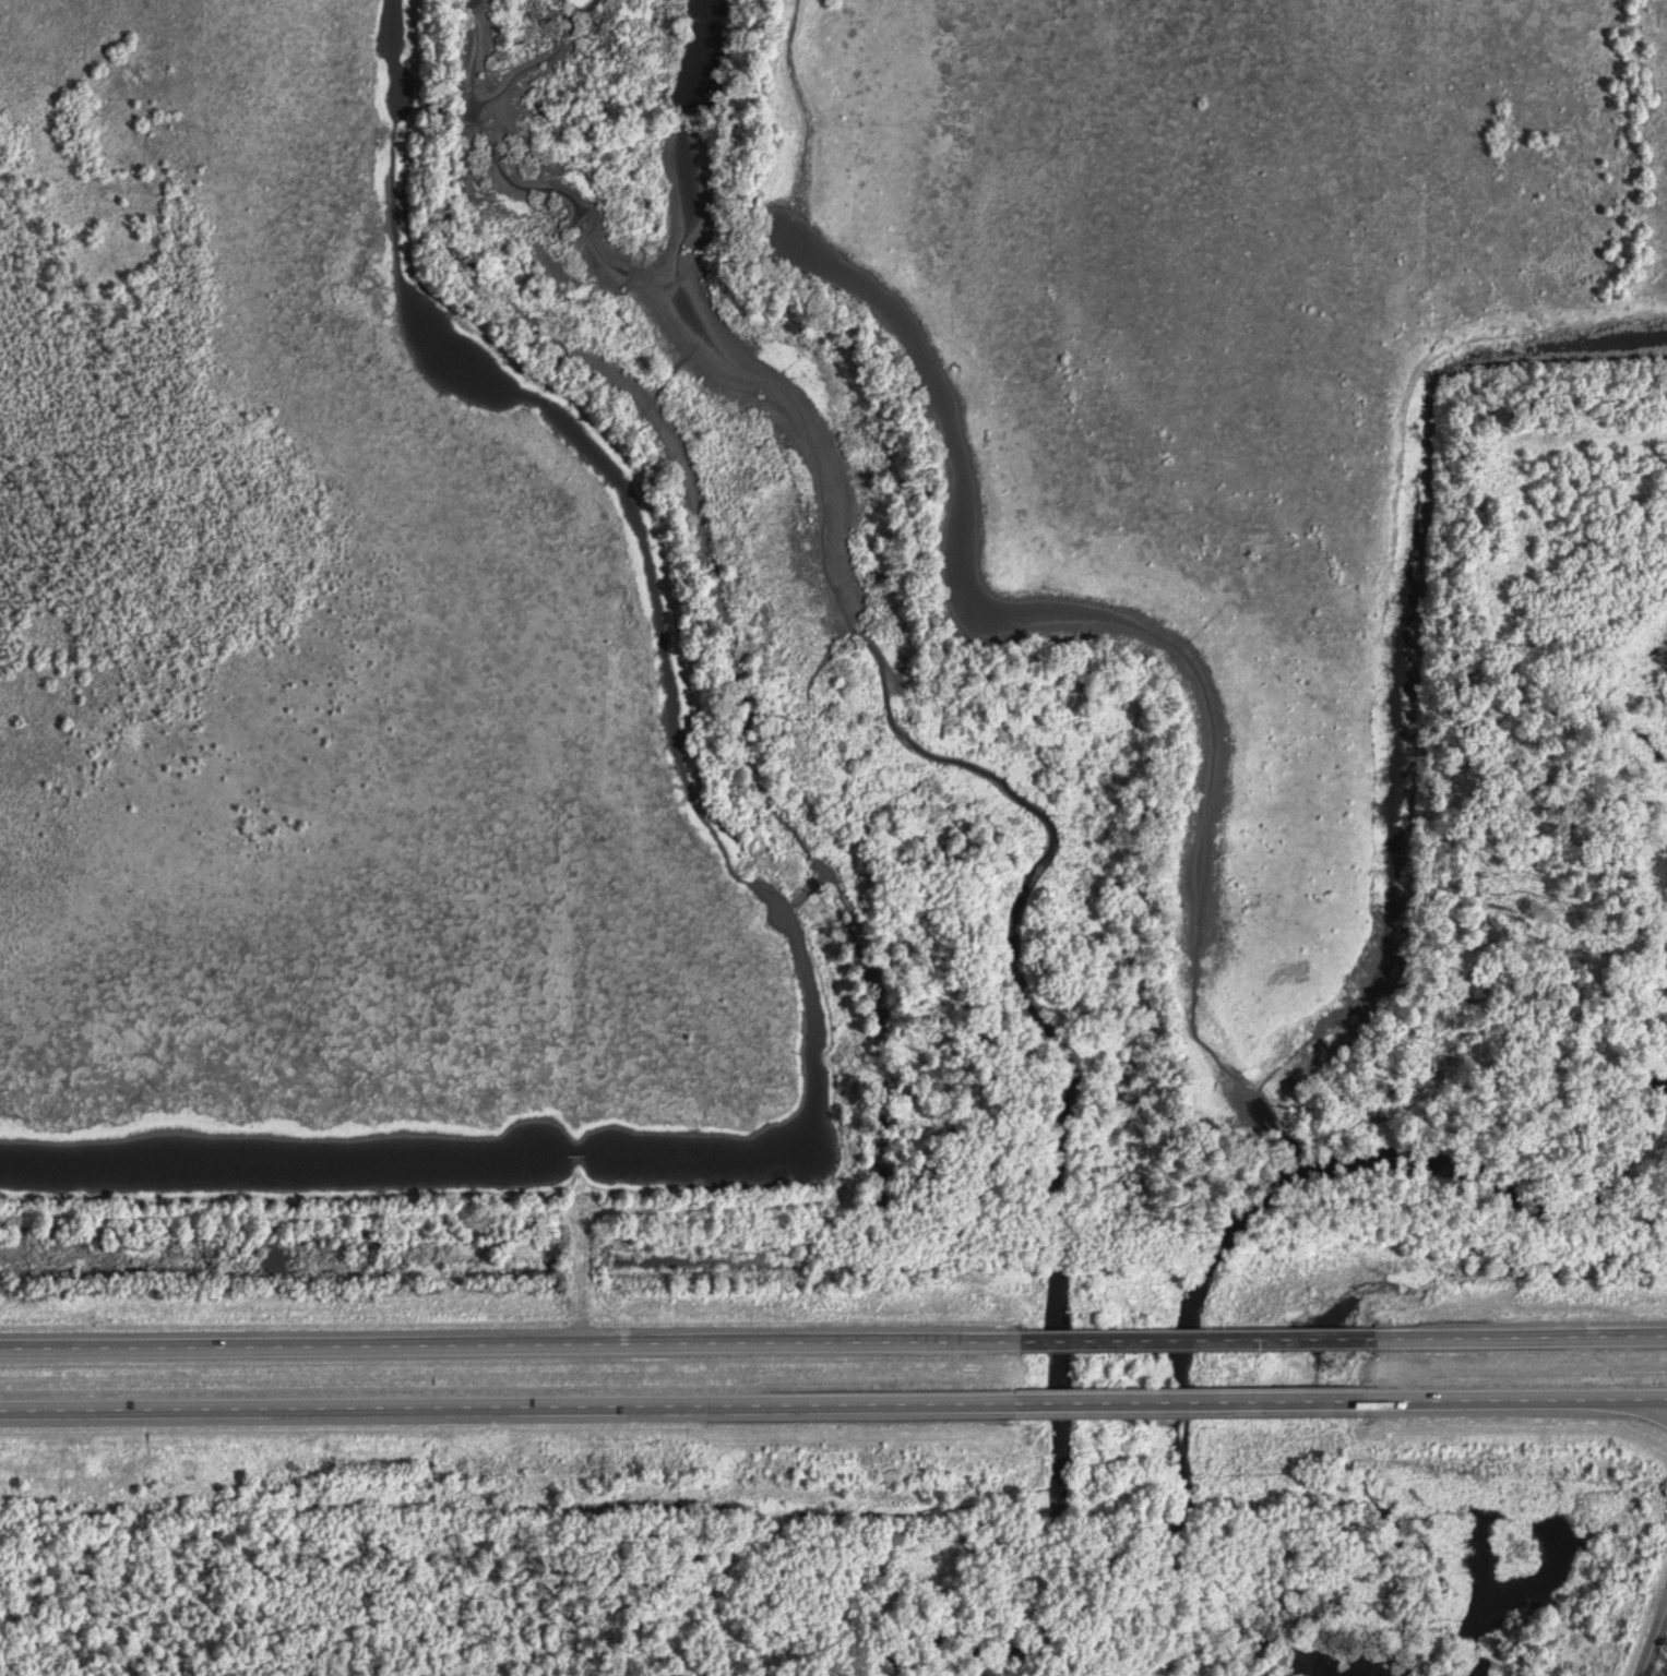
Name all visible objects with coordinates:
crop: (349, 668)
river: (1187, 1330)
road: (1521, 1339)
road: (1196, 1343)
road: (509, 1348)
river: (1060, 1365)
road: (1515, 1400)
road: (1199, 1401)
road: (516, 1408)
road: (1653, 1408)
park: (734, 1604)
road: (1654, 1642)

